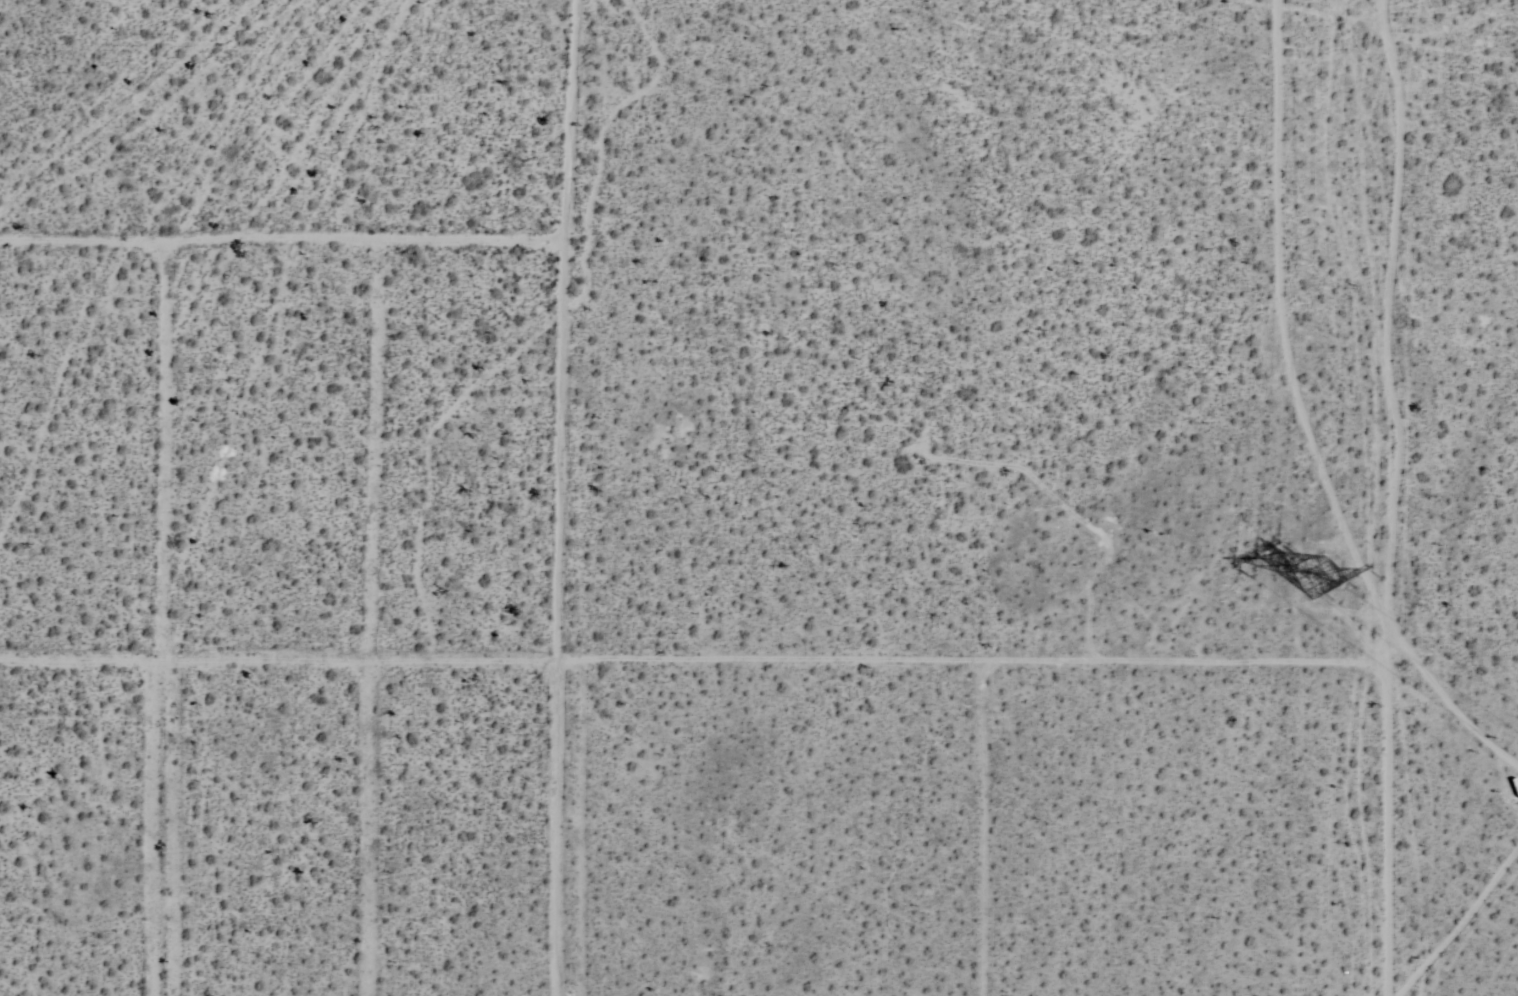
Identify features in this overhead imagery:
road: (278, 181)
road: (1429, 497)
power tower: (1310, 574)
road: (193, 588)
road: (394, 588)
road: (716, 618)

